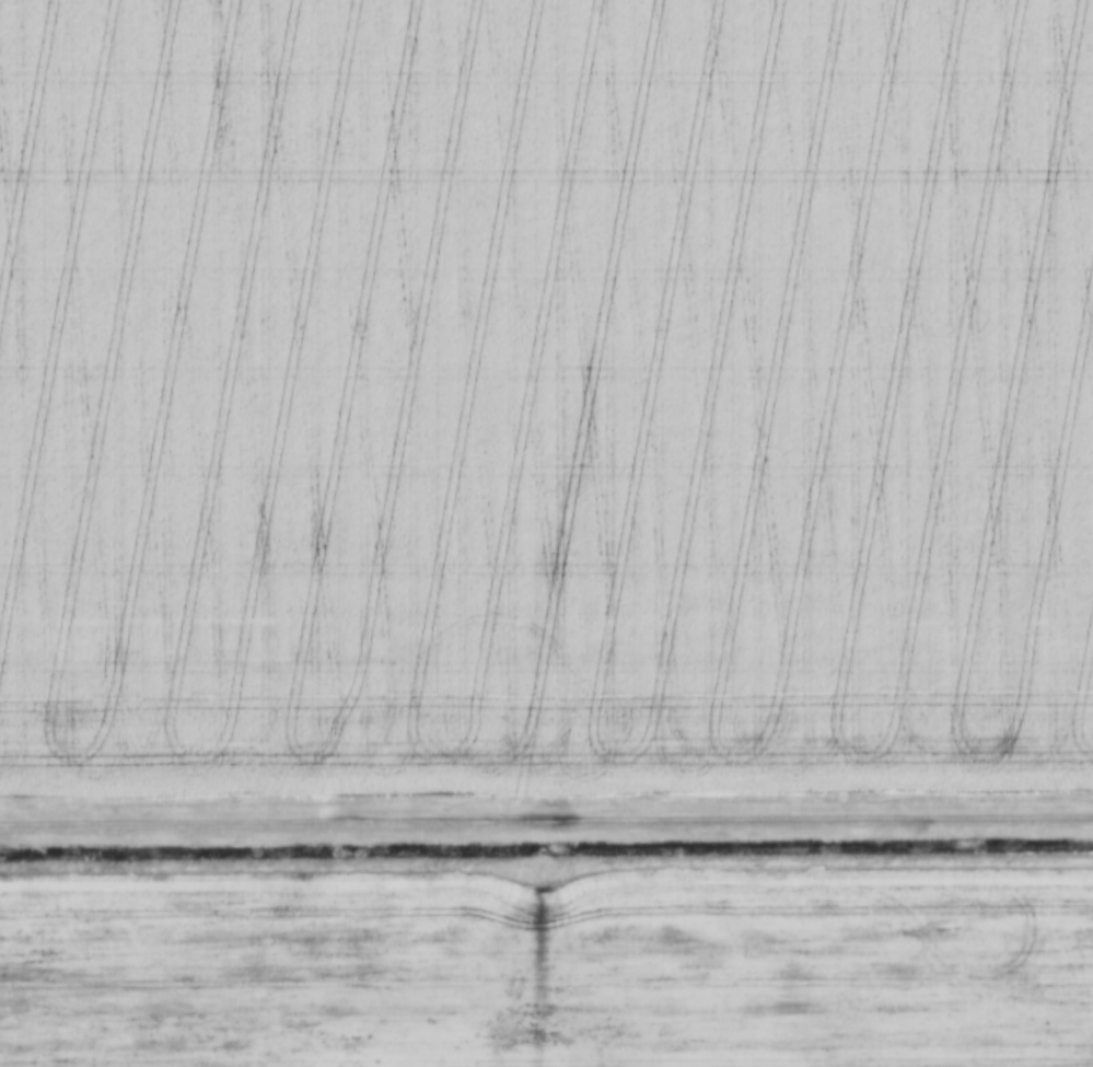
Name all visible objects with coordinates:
crop: (545, 395)
road: (546, 821)
crop: (548, 964)

